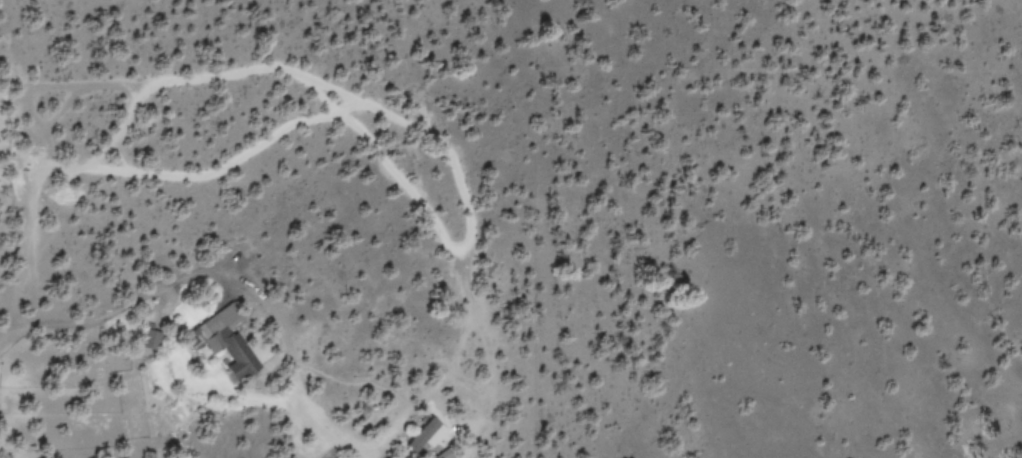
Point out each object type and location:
building: (146, 338)
building: (220, 341)
building: (422, 434)
building: (441, 454)

